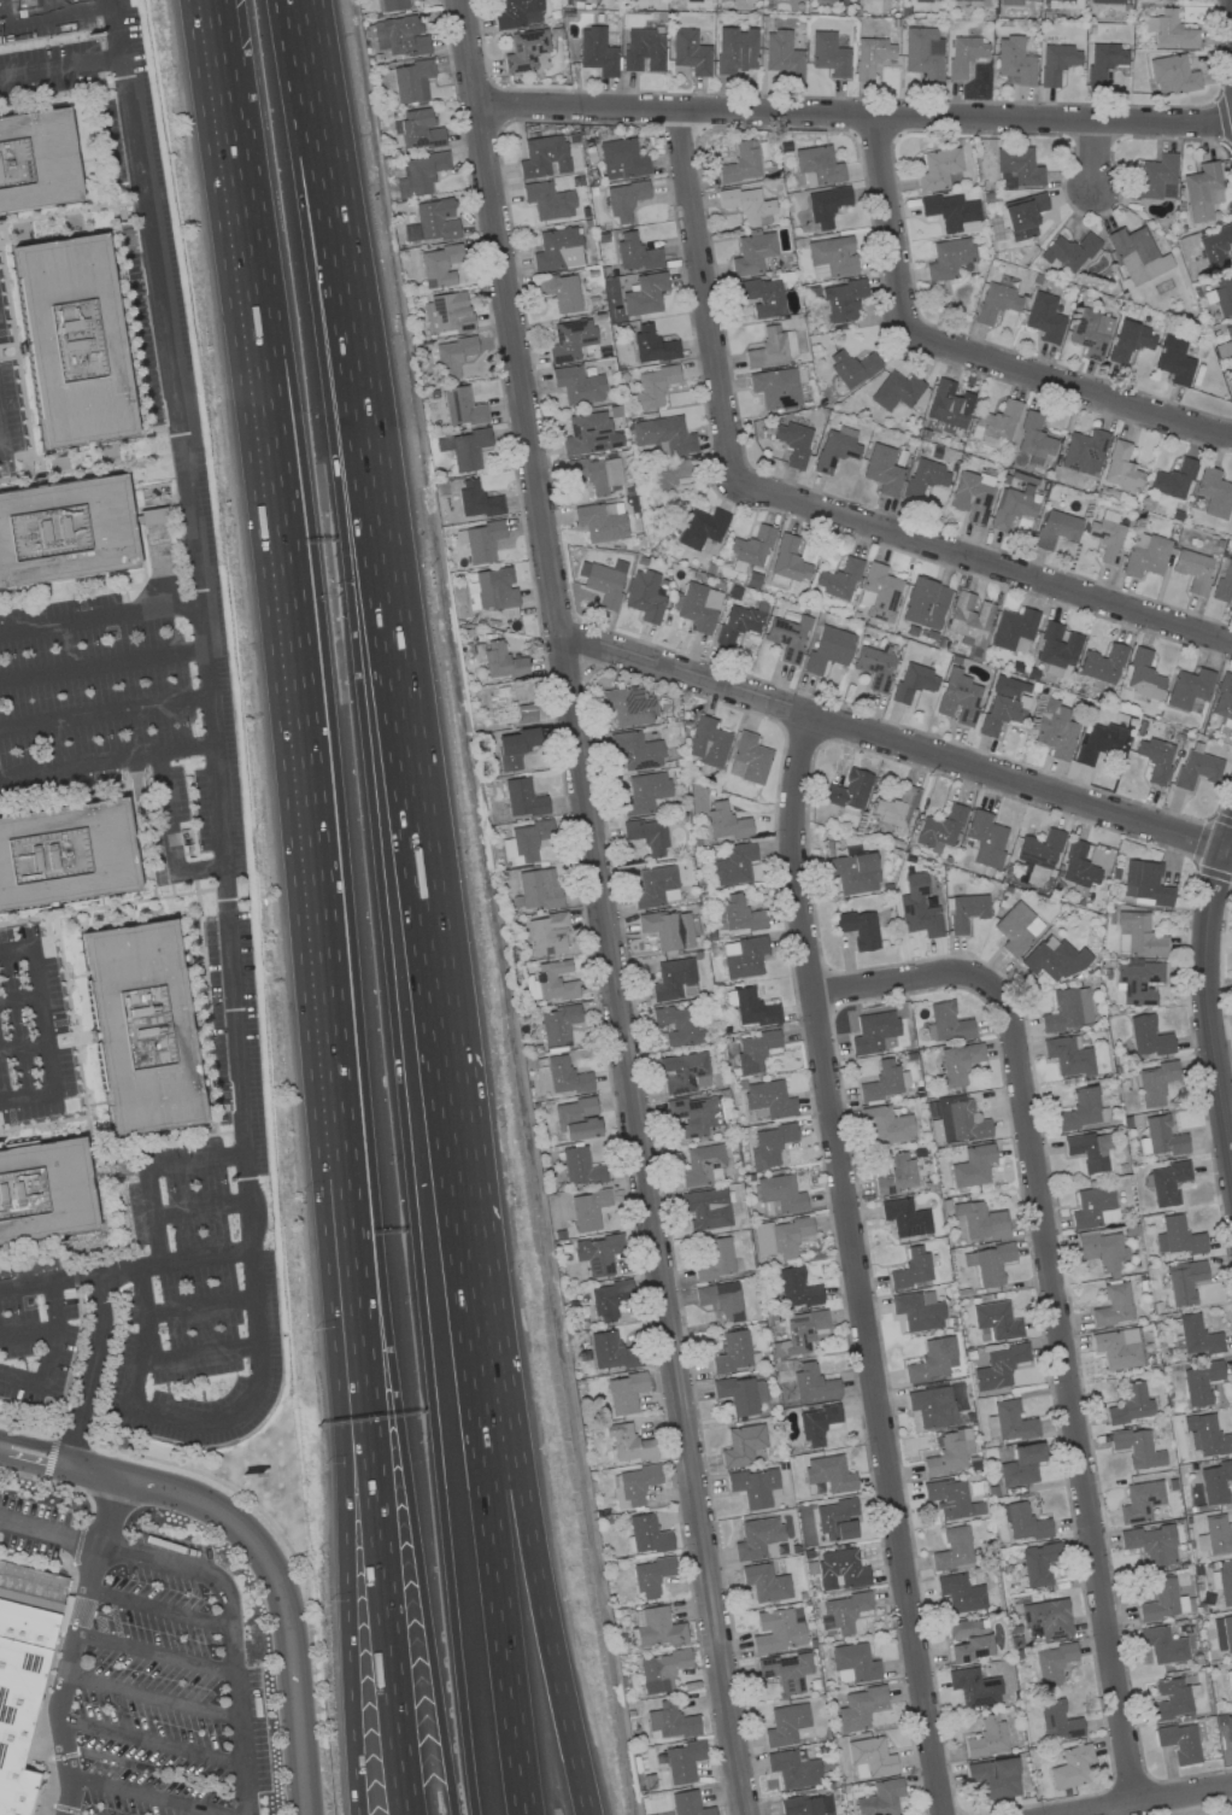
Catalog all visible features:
building: (692, 0)
building: (920, 0)
building: (1108, 1)
building: (982, 2)
building: (1009, 2)
building: (1061, 4)
building: (389, 5)
building: (516, 12)
road: (57, 16)
road: (210, 28)
building: (1169, 29)
building: (399, 36)
building: (524, 49)
building: (643, 49)
building: (734, 49)
building: (597, 51)
building: (690, 52)
building: (922, 52)
building: (828, 54)
building: (963, 54)
building: (781, 55)
building: (870, 55)
building: (1014, 60)
building: (1103, 60)
building: (1056, 63)
road: (60, 64)
road: (304, 65)
building: (1172, 75)
building: (411, 81)
road: (55, 94)
road: (853, 113)
building: (420, 129)
road: (1095, 154)
building: (542, 156)
building: (621, 158)
building: (36, 159)
building: (740, 163)
building: (817, 165)
building: (1016, 166)
building: (938, 168)
building: (420, 174)
building: (1156, 177)
building: (1201, 191)
building: (624, 199)
building: (547, 200)
building: (747, 204)
building: (826, 205)
building: (951, 212)
road: (57, 213)
building: (1021, 215)
road: (240, 217)
building: (435, 219)
building: (1214, 246)
building: (557, 250)
building: (1068, 251)
building: (635, 252)
building: (751, 252)
building: (1137, 254)
building: (831, 257)
building: (948, 257)
building: (439, 264)
road: (124, 274)
building: (562, 292)
building: (644, 294)
building: (1220, 295)
building: (762, 297)
building: (839, 299)
building: (995, 303)
building: (446, 312)
building: (1044, 317)
building: (1089, 333)
building: (569, 338)
building: (1128, 340)
building: (1225, 341)
building: (72, 342)
building: (651, 345)
building: (772, 347)
road: (964, 352)
building: (452, 356)
building: (1173, 359)
building: (851, 367)
building: (577, 385)
building: (652, 386)
building: (775, 387)
building: (893, 390)
building: (946, 405)
building: (462, 406)
building: (997, 422)
building: (589, 433)
building: (663, 435)
building: (1033, 438)
road: (1, 443)
building: (792, 443)
building: (465, 447)
building: (835, 447)
building: (1083, 451)
building: (1121, 467)
road: (84, 469)
building: (881, 469)
building: (596, 473)
building: (669, 474)
building: (925, 478)
building: (1172, 480)
building: (1213, 492)
building: (970, 494)
building: (476, 499)
road: (803, 504)
building: (1013, 507)
building: (152, 515)
building: (600, 521)
building: (700, 527)
building: (1055, 528)
building: (65, 531)
building: (1105, 537)
building: (482, 540)
building: (750, 548)
building: (1144, 554)
building: (788, 560)
building: (1192, 569)
building: (838, 579)
building: (603, 581)
building: (1224, 581)
building: (489, 589)
building: (878, 592)
building: (644, 596)
road: (382, 599)
building: (925, 603)
building: (696, 605)
building: (968, 617)
road: (101, 619)
building: (739, 621)
road: (204, 622)
building: (1013, 630)
building: (1056, 648)
building: (828, 649)
building: (501, 661)
building: (1102, 663)
road: (104, 666)
building: (874, 666)
building: (1143, 675)
building: (913, 681)
building: (1187, 687)
road: (680, 690)
building: (958, 697)
building: (1222, 697)
building: (509, 707)
building: (626, 707)
building: (1002, 713)
road: (106, 714)
road: (802, 736)
building: (1057, 736)
building: (708, 742)
building: (1097, 742)
road: (894, 745)
building: (514, 748)
building: (635, 750)
building: (1155, 757)
building: (747, 759)
road: (108, 762)
building: (1196, 768)
road: (313, 785)
building: (849, 790)
road: (68, 791)
building: (644, 791)
road: (1013, 797)
building: (522, 798)
building: (698, 798)
building: (894, 807)
building: (724, 821)
building: (940, 829)
road: (143, 835)
building: (647, 835)
building: (985, 838)
building: (526, 841)
building: (1039, 849)
building: (64, 854)
building: (732, 865)
building: (1079, 865)
building: (852, 872)
road: (1214, 873)
building: (1145, 883)
building: (656, 885)
building: (538, 888)
road: (106, 906)
road: (600, 907)
building: (917, 907)
building: (966, 911)
building: (740, 913)
building: (858, 927)
building: (1016, 927)
building: (668, 929)
building: (546, 933)
building: (1140, 933)
building: (743, 956)
building: (1051, 959)
road: (394, 972)
building: (671, 978)
building: (553, 980)
building: (1138, 982)
building: (1231, 985)
road: (18, 994)
road: (1204, 1002)
road: (207, 1006)
building: (753, 1008)
building: (1067, 1009)
building: (946, 1021)
building: (677, 1024)
building: (557, 1025)
building: (142, 1027)
building: (873, 1031)
road: (43, 1035)
building: (1148, 1037)
road: (22, 1046)
building: (753, 1050)
building: (1068, 1055)
building: (958, 1061)
building: (682, 1071)
building: (565, 1076)
building: (885, 1081)
building: (1155, 1082)
road: (82, 1088)
road: (362, 1096)
building: (769, 1099)
building: (1081, 1110)
building: (694, 1114)
building: (576, 1118)
building: (958, 1120)
road: (43, 1123)
building: (886, 1124)
building: (1163, 1136)
road: (162, 1142)
building: (769, 1144)
building: (1090, 1149)
building: (702, 1164)
building: (580, 1166)
building: (972, 1166)
road: (149, 1167)
building: (897, 1173)
building: (1167, 1182)
building: (45, 1190)
building: (776, 1196)
road: (203, 1206)
building: (1093, 1206)
building: (588, 1208)
building: (705, 1208)
building: (904, 1217)
building: (979, 1220)
building: (780, 1236)
building: (1177, 1236)
road: (65, 1251)
building: (1102, 1251)
building: (598, 1253)
building: (716, 1259)
road: (176, 1261)
building: (988, 1263)
road: (852, 1266)
building: (911, 1267)
building: (1183, 1281)
road: (49, 1282)
building: (796, 1288)
building: (609, 1299)
building: (720, 1300)
road: (1054, 1301)
building: (1113, 1305)
road: (200, 1306)
building: (917, 1310)
building: (995, 1321)
building: (799, 1331)
road: (54, 1333)
road: (28, 1334)
building: (1197, 1335)
road: (147, 1337)
building: (1117, 1347)
building: (611, 1351)
building: (732, 1351)
road: (199, 1354)
building: (932, 1359)
building: (998, 1366)
road: (70, 1369)
road: (89, 1371)
road: (20, 1378)
building: (1199, 1382)
building: (812, 1383)
road: (254, 1390)
building: (624, 1392)
building: (740, 1393)
building: (1130, 1404)
building: (932, 1406)
building: (1011, 1421)
building: (816, 1423)
building: (1207, 1436)
road: (485, 1442)
road: (512, 1442)
building: (628, 1442)
building: (741, 1444)
building: (1137, 1447)
road: (4, 1452)
building: (948, 1452)
road: (36, 1460)
building: (1021, 1464)
building: (828, 1473)
building: (1214, 1481)
building: (632, 1485)
building: (755, 1487)
building: (950, 1499)
building: (1140, 1500)
road: (347, 1504)
road: (380, 1504)
building: (835, 1520)
building: (1023, 1522)
road: (51, 1534)
building: (646, 1534)
building: (1216, 1534)
building: (1151, 1544)
building: (952, 1548)
building: (1039, 1562)
building: (840, 1569)
road: (271, 1576)
building: (651, 1576)
building: (1225, 1581)
building: (764, 1582)
building: (960, 1593)
building: (1162, 1600)
road: (158, 1608)
building: (841, 1611)
building: (1046, 1617)
building: (658, 1627)
building: (778, 1629)
building: (1222, 1634)
road: (228, 1635)
building: (968, 1639)
building: (1163, 1644)
road: (72, 1646)
road: (154, 1653)
building: (1052, 1662)
building: (852, 1663)
building: (662, 1668)
building: (785, 1670)
building: (973, 1686)
building: (19, 1688)
road: (151, 1697)
building: (1172, 1698)
building: (858, 1706)
building: (670, 1721)
building: (1057, 1721)
building: (785, 1723)
building: (1228, 1727)
building: (986, 1735)
road: (147, 1741)
building: (1179, 1741)
building: (869, 1757)
building: (682, 1761)
building: (1070, 1767)
building: (793, 1768)
building: (993, 1778)
road: (140, 1793)
building: (880, 1798)
road: (1152, 1801)
building: (687, 1804)
building: (806, 1805)
park: (1208, 1810)
road: (1115, 1811)

